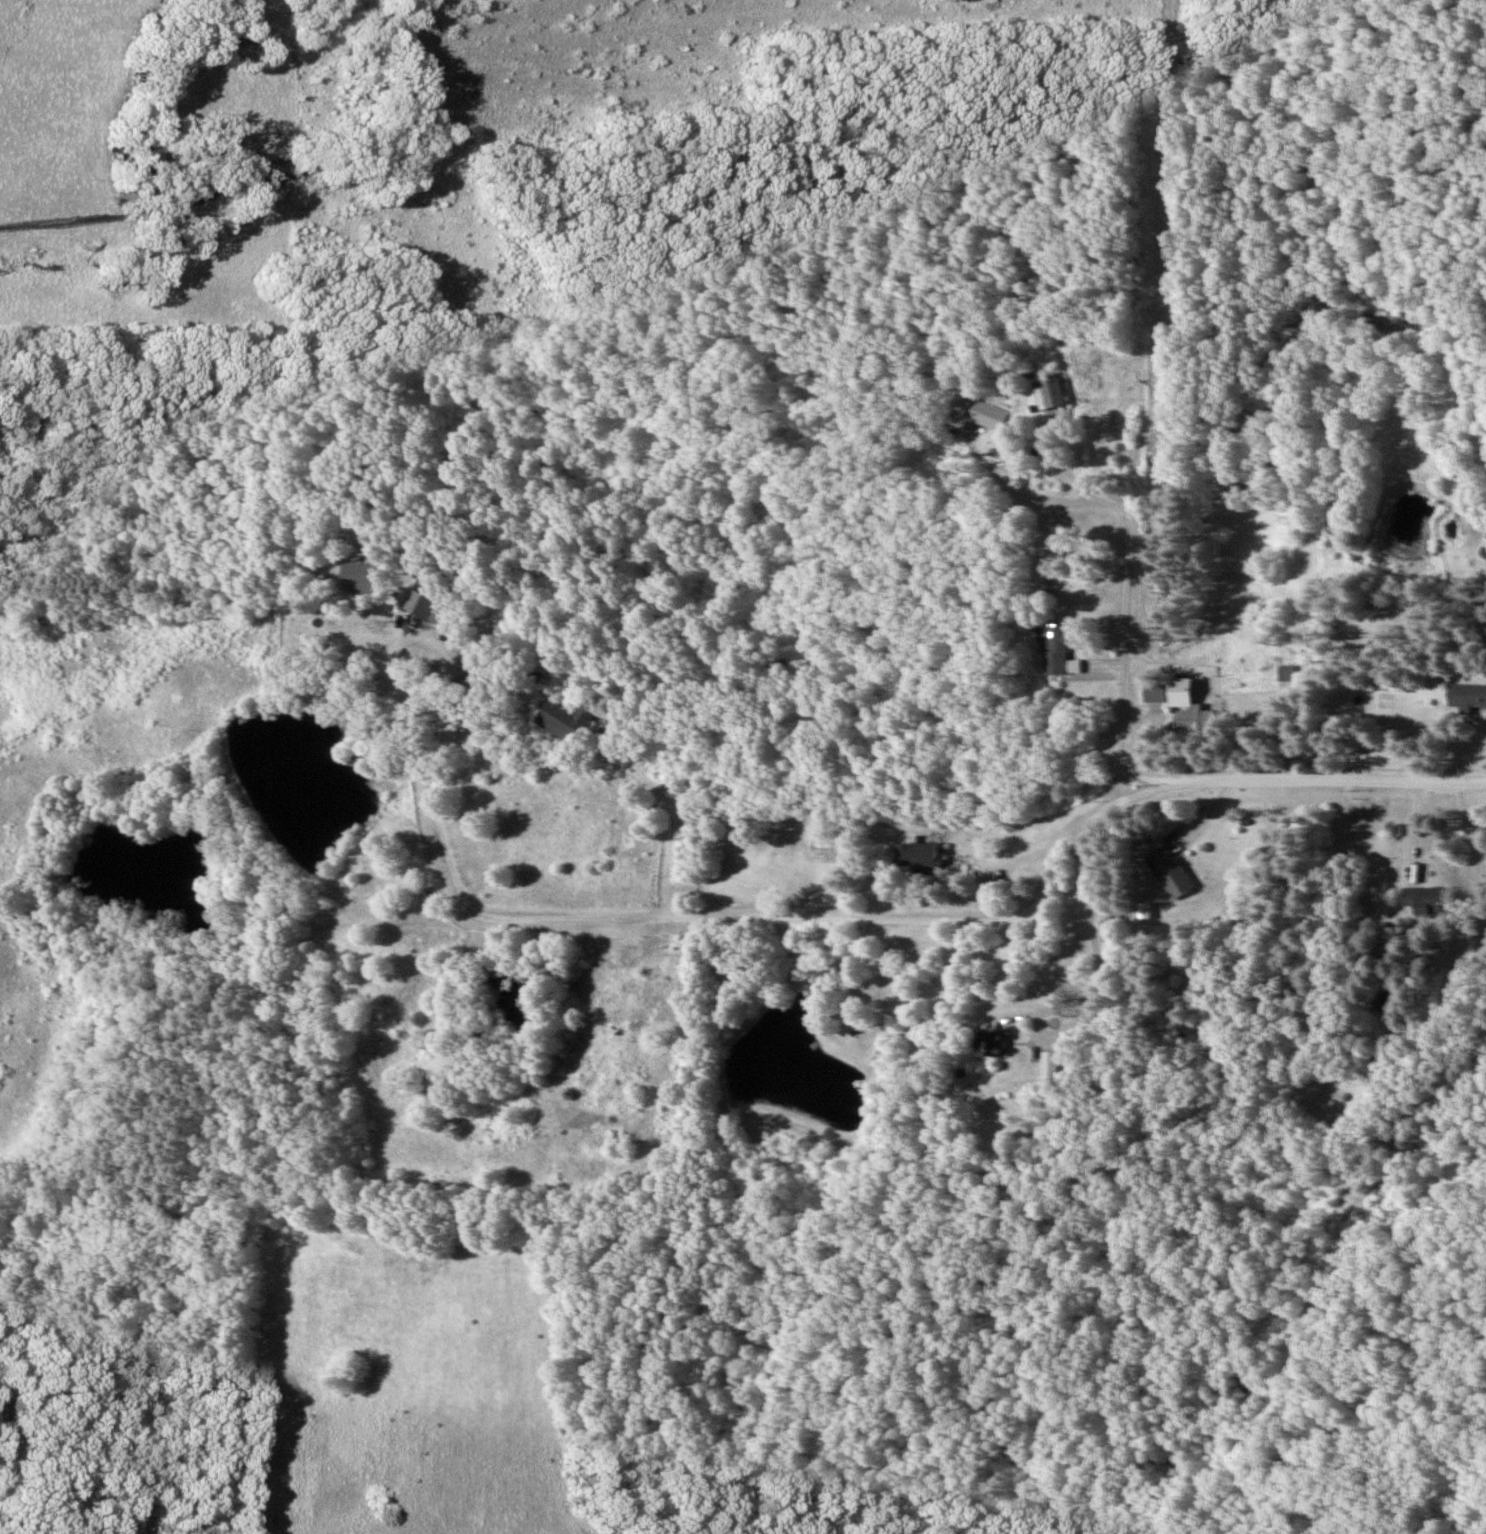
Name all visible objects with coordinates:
building: (1048, 392)
building: (979, 411)
building: (424, 601)
building: (1055, 648)
road: (1130, 651)
building: (1285, 672)
building: (1178, 692)
building: (1153, 693)
building: (1466, 695)
building: (566, 717)
building: (1195, 719)
building: (916, 855)
building: (1170, 871)
building: (985, 891)
building: (1424, 899)
road: (947, 918)
building: (990, 1044)
building: (1051, 1063)

